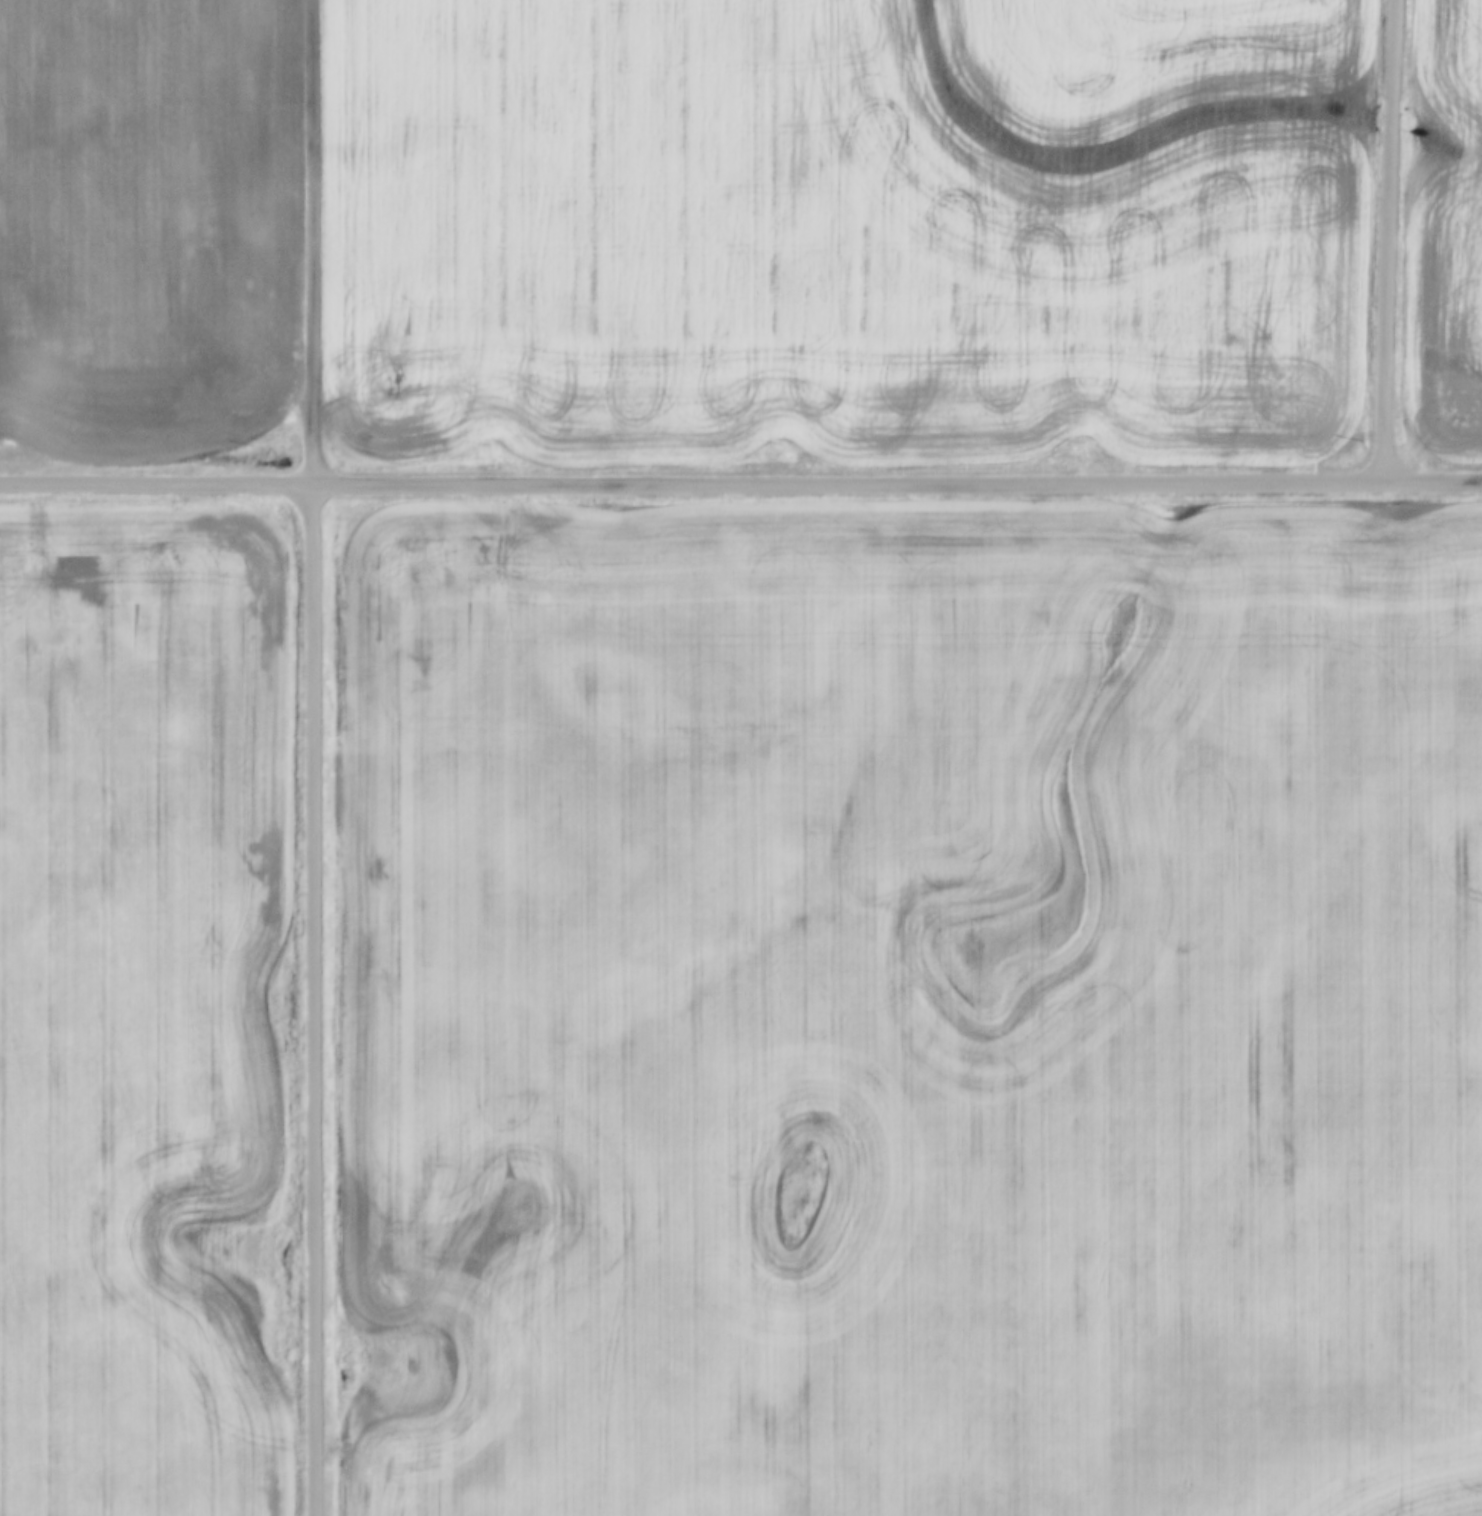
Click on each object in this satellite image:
road: (310, 242)
road: (1389, 242)
road: (741, 484)
road: (314, 999)

